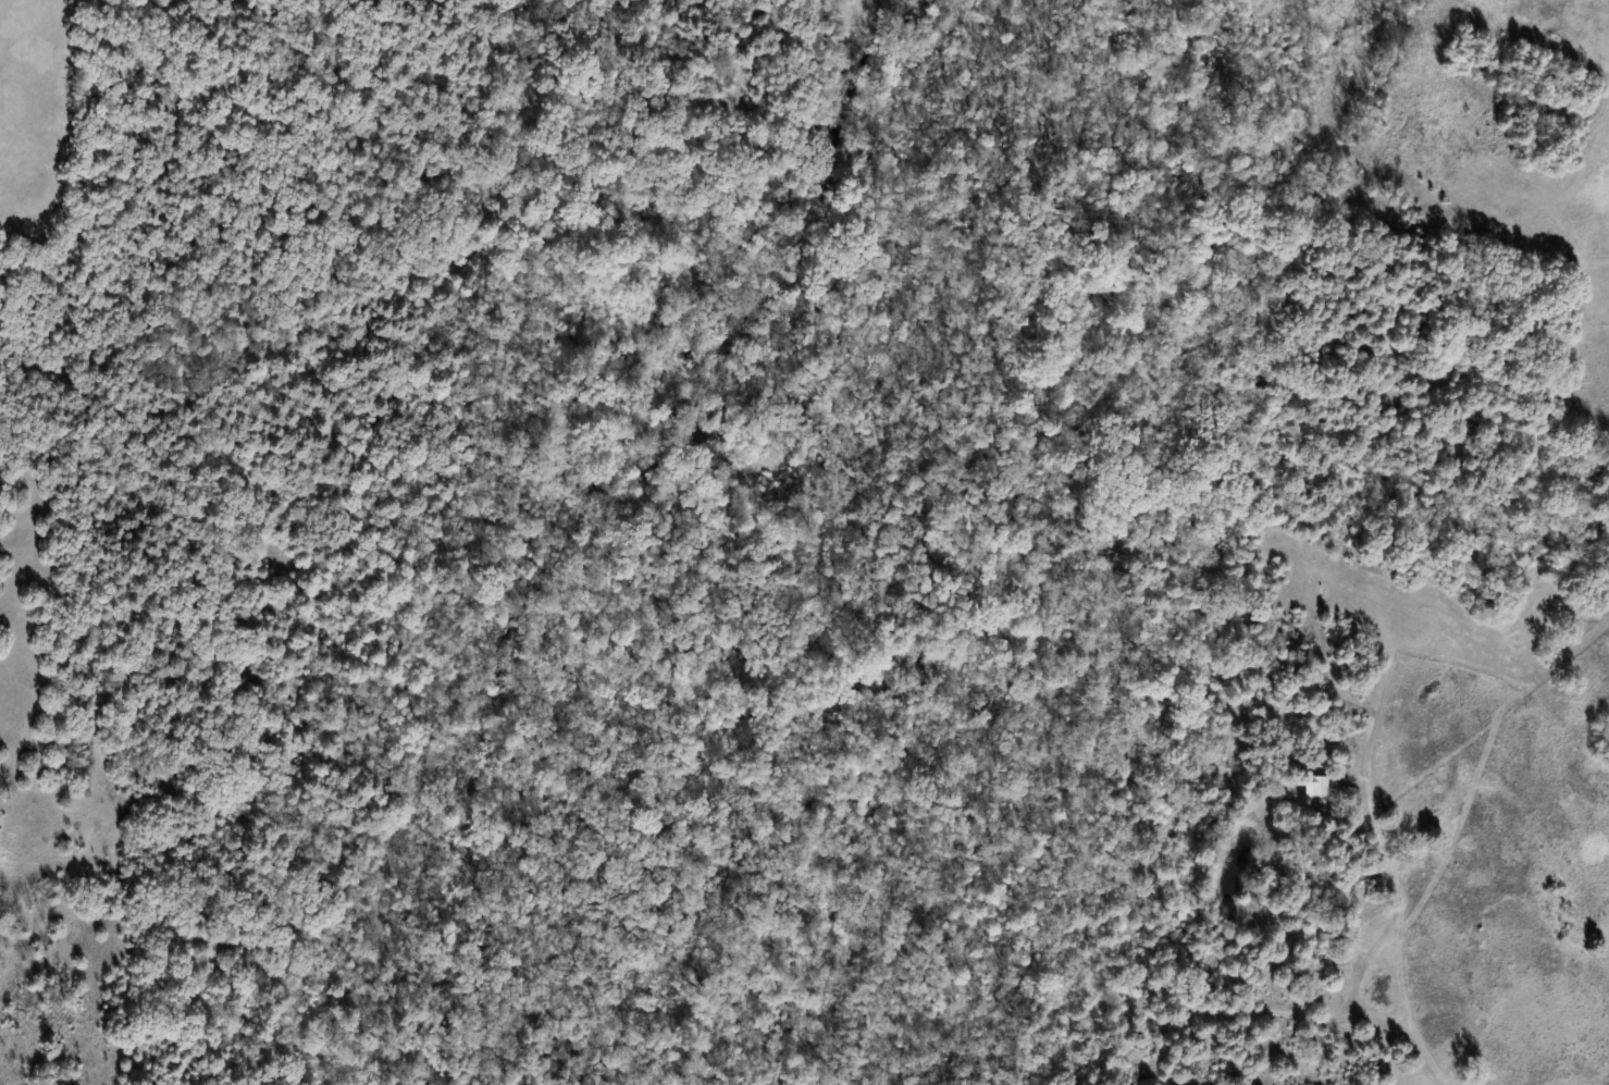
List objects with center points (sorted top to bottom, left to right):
road: (1406, 939)

